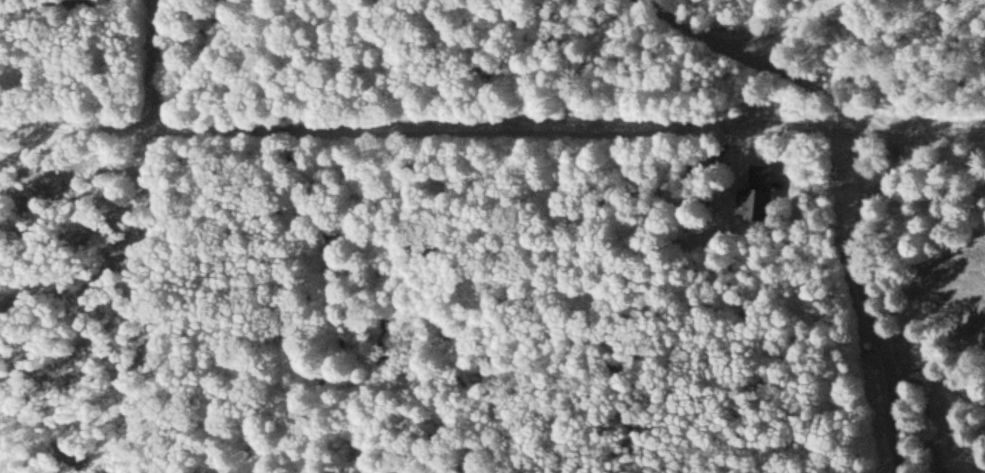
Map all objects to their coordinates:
road: (60, 5)
road: (779, 71)
building: (770, 190)
road: (860, 269)
park: (948, 340)
road: (935, 374)

